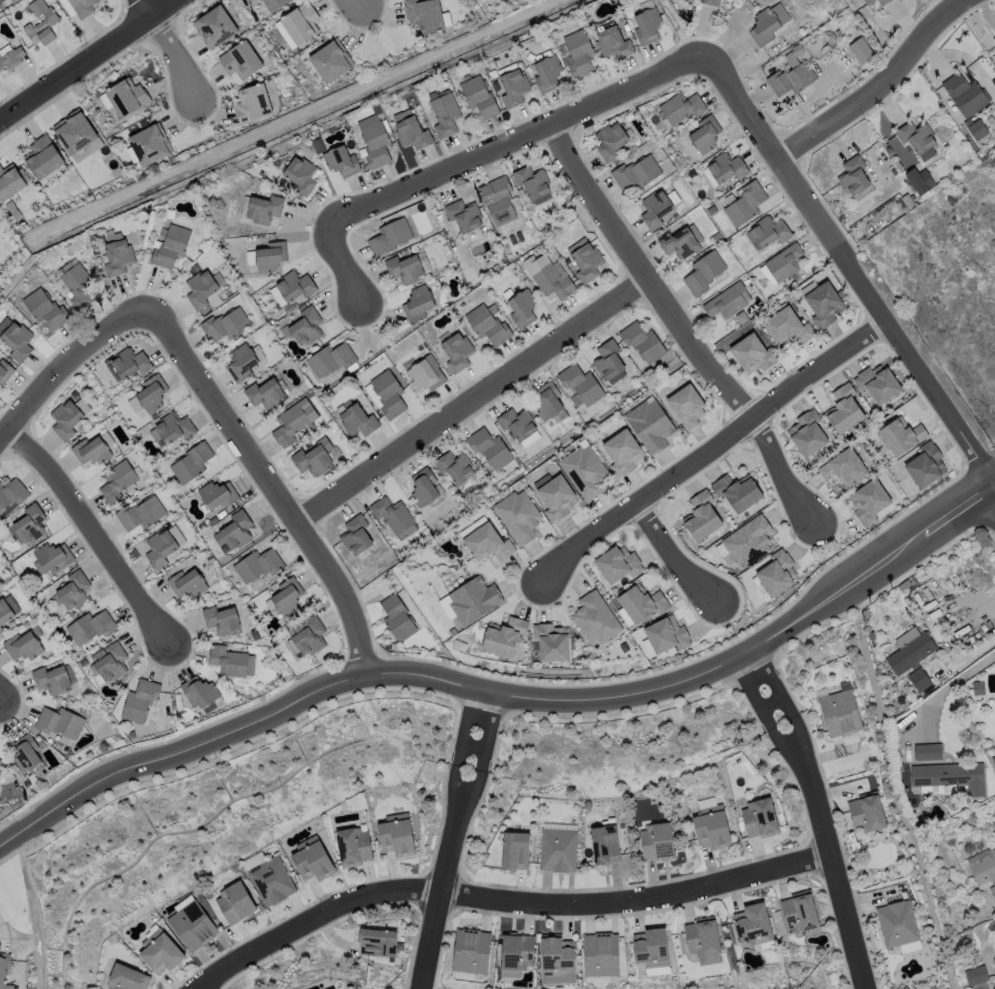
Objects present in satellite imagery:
building: (728, 0)
building: (709, 2)
building: (272, 4)
building: (869, 4)
building: (78, 8)
road: (359, 9)
building: (425, 16)
building: (768, 22)
building: (298, 23)
building: (41, 24)
building: (646, 26)
building: (212, 27)
building: (993, 38)
building: (613, 43)
building: (861, 50)
building: (579, 51)
road: (170, 53)
building: (10, 57)
road: (87, 59)
building: (239, 60)
building: (329, 62)
building: (545, 73)
building: (791, 75)
road: (878, 87)
building: (513, 88)
building: (124, 98)
building: (479, 98)
building: (967, 98)
building: (251, 104)
building: (680, 109)
building: (444, 112)
building: (142, 123)
building: (410, 129)
building: (705, 135)
building: (75, 136)
building: (916, 138)
building: (112, 141)
building: (610, 142)
building: (374, 144)
building: (148, 145)
road: (476, 157)
building: (41, 161)
building: (341, 162)
building: (725, 168)
building: (636, 173)
building: (852, 174)
building: (300, 176)
building: (919, 180)
building: (8, 183)
building: (533, 185)
building: (497, 201)
building: (744, 202)
building: (261, 208)
building: (655, 210)
building: (462, 216)
building: (0, 219)
building: (769, 231)
building: (389, 238)
building: (677, 244)
building: (168, 247)
building: (265, 256)
building: (116, 258)
building: (783, 263)
building: (585, 264)
building: (404, 270)
road: (851, 271)
building: (704, 273)
building: (549, 277)
building: (76, 287)
building: (291, 288)
building: (199, 290)
building: (728, 302)
building: (417, 303)
building: (46, 306)
building: (823, 306)
building: (519, 308)
building: (223, 326)
building: (488, 327)
road: (676, 327)
building: (302, 328)
building: (786, 328)
building: (17, 337)
building: (641, 343)
building: (456, 352)
building: (753, 355)
building: (128, 361)
building: (329, 361)
building: (240, 363)
road: (64, 365)
building: (607, 365)
building: (5, 369)
building: (424, 374)
building: (877, 385)
building: (579, 387)
building: (263, 394)
building: (386, 395)
building: (148, 396)
road: (471, 400)
building: (547, 403)
building: (687, 408)
building: (844, 412)
building: (68, 414)
building: (357, 422)
building: (292, 423)
building: (517, 426)
building: (172, 427)
building: (650, 427)
building: (807, 434)
building: (901, 438)
building: (529, 439)
building: (93, 447)
road: (707, 448)
building: (488, 450)
building: (622, 454)
building: (313, 458)
building: (191, 459)
building: (926, 466)
building: (456, 469)
building: (844, 470)
building: (585, 474)
building: (117, 479)
road: (270, 485)
building: (422, 488)
road: (993, 491)
building: (217, 492)
building: (11, 493)
building: (737, 494)
building: (555, 498)
building: (870, 503)
building: (141, 511)
building: (390, 515)
building: (518, 517)
building: (697, 520)
building: (30, 521)
building: (234, 528)
road: (94, 534)
building: (354, 537)
building: (163, 543)
building: (748, 543)
building: (487, 545)
building: (53, 555)
road: (672, 556)
building: (257, 563)
building: (616, 566)
building: (777, 575)
building: (187, 581)
building: (74, 588)
building: (285, 595)
building: (469, 602)
building: (641, 605)
building: (7, 606)
building: (222, 618)
building: (396, 618)
building: (595, 620)
building: (90, 625)
building: (0, 628)
building: (0, 630)
building: (307, 635)
building: (665, 637)
building: (503, 639)
building: (23, 643)
building: (550, 643)
building: (908, 649)
building: (232, 660)
building: (107, 661)
road: (704, 674)
building: (51, 677)
building: (918, 680)
road: (948, 683)
building: (977, 688)
building: (200, 689)
building: (140, 699)
building: (839, 713)
building: (60, 721)
building: (25, 751)
building: (926, 752)
road: (177, 753)
building: (0, 759)
building: (951, 776)
building: (866, 813)
building: (763, 814)
road: (817, 816)
building: (714, 824)
building: (397, 832)
building: (659, 838)
road: (450, 840)
building: (608, 843)
building: (355, 844)
building: (518, 848)
building: (559, 848)
building: (314, 857)
building: (983, 871)
building: (271, 879)
building: (992, 891)
road: (502, 899)
building: (236, 901)
building: (801, 908)
building: (756, 921)
building: (898, 921)
building: (192, 922)
building: (704, 938)
building: (379, 940)
building: (653, 944)
building: (907, 947)
building: (470, 949)
road: (15, 950)
building: (161, 950)
building: (515, 952)
building: (600, 952)
building: (557, 957)
building: (994, 960)
building: (4, 969)
building: (127, 977)
building: (975, 978)
building: (334, 988)

